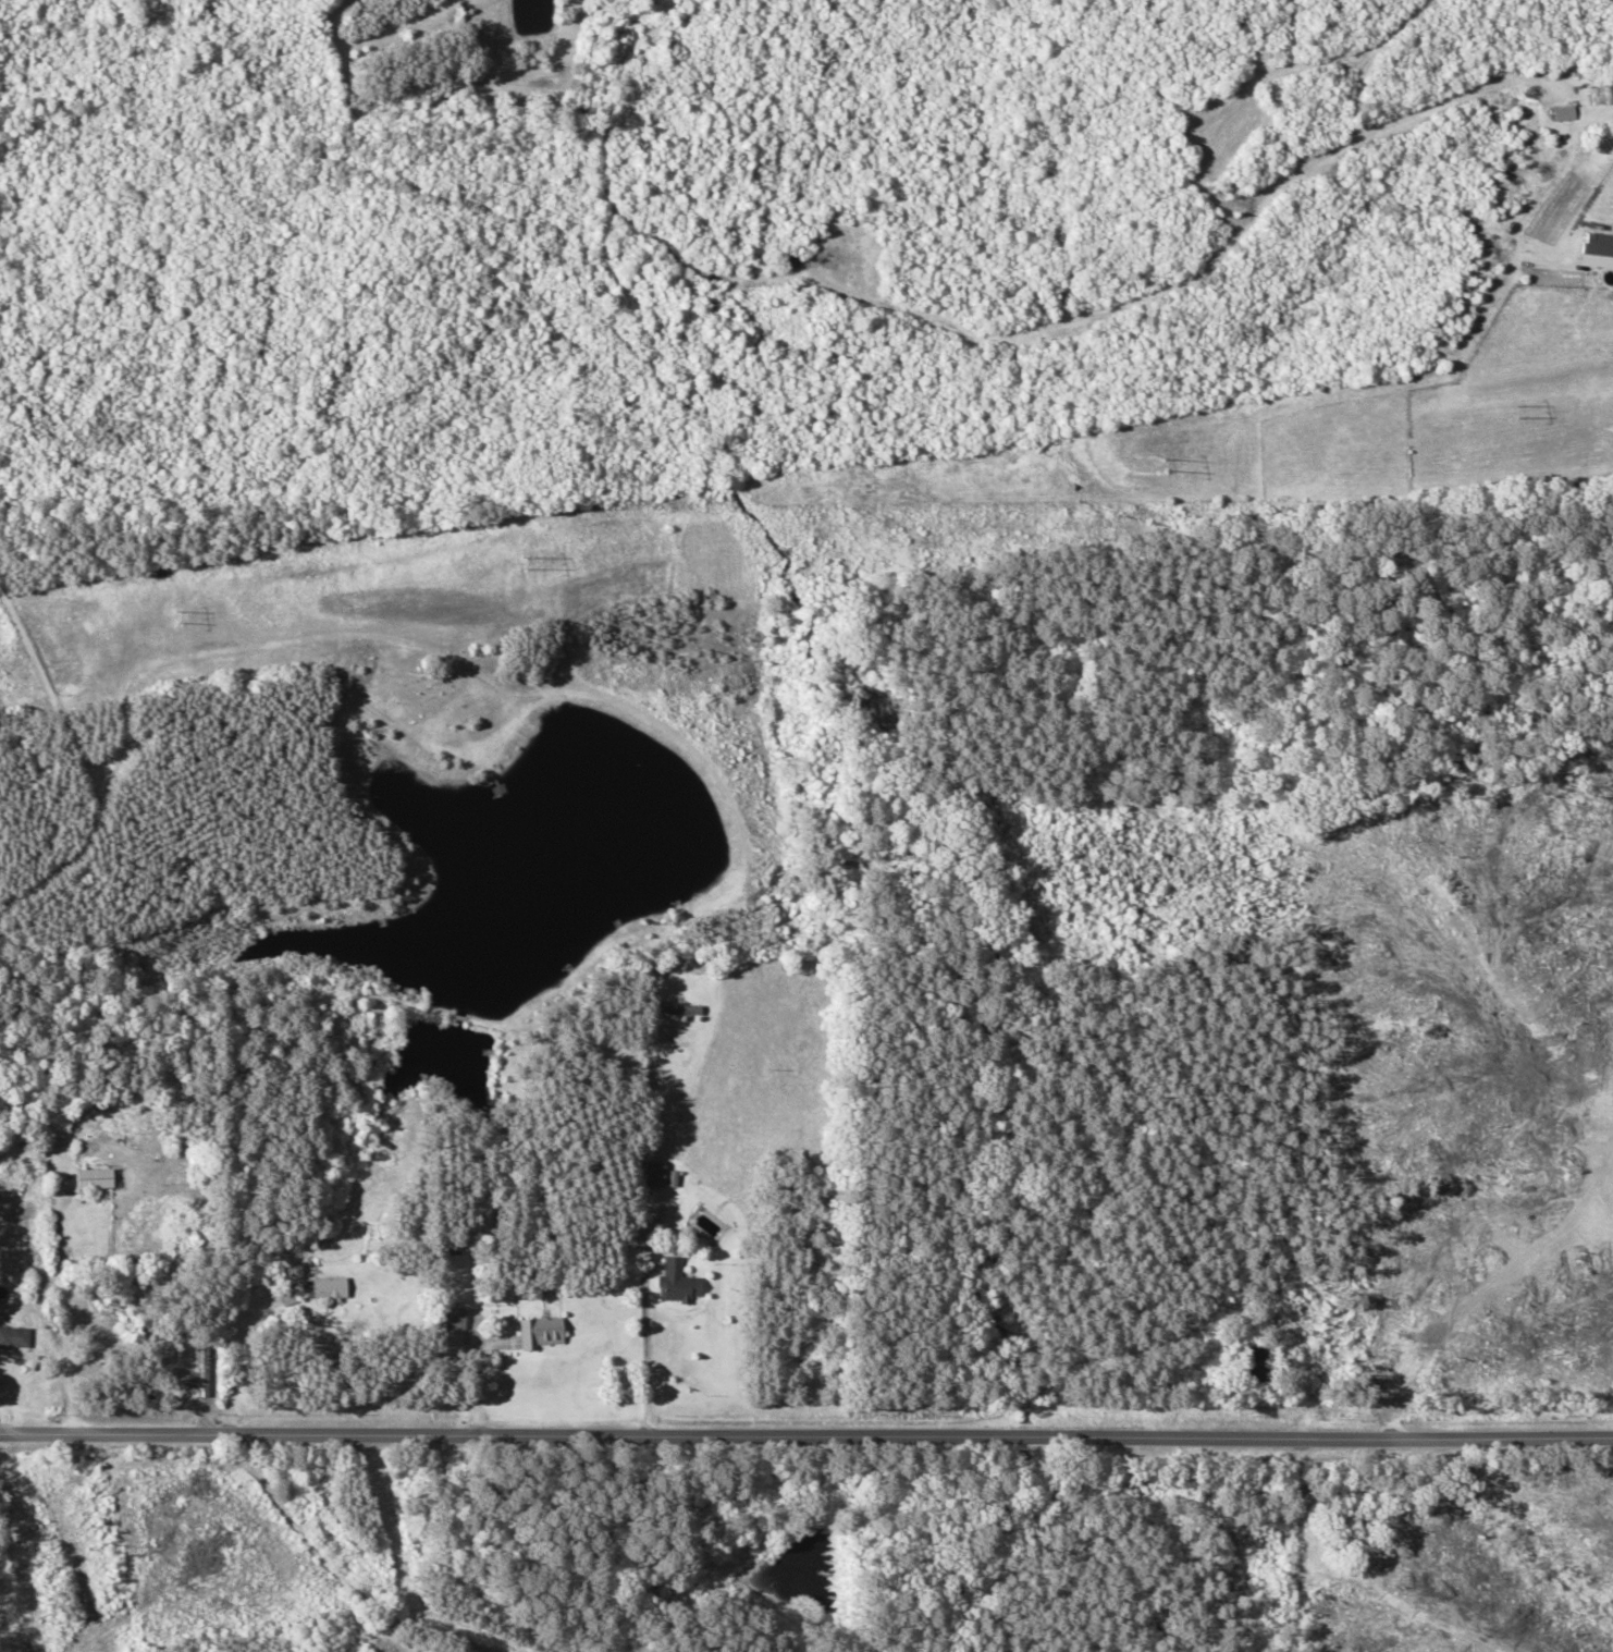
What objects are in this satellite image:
building: (1605, 91)
building: (678, 1008)
building: (655, 1173)
building: (94, 1177)
building: (452, 1246)
building: (677, 1281)
building: (322, 1286)
building: (451, 1317)
building: (540, 1331)
building: (14, 1336)
road: (805, 1437)
road: (309, 1545)
road: (432, 1633)

